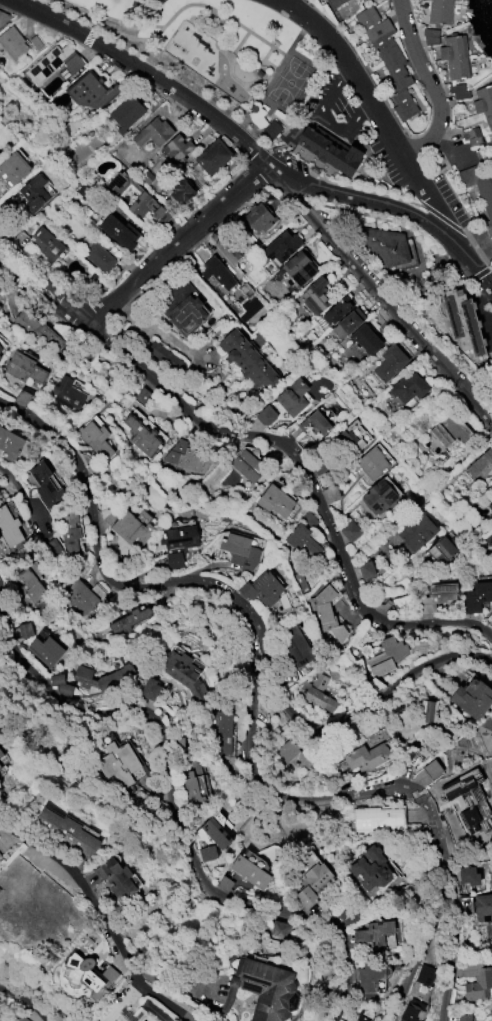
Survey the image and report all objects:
building: (334, 3)
building: (135, 4)
road: (180, 4)
building: (439, 12)
building: (3, 17)
road: (213, 21)
road: (129, 22)
building: (12, 43)
park: (215, 52)
road: (282, 55)
road: (261, 58)
building: (388, 60)
building: (52, 63)
building: (456, 63)
road: (228, 67)
road: (145, 73)
park: (288, 81)
road: (431, 83)
road: (301, 88)
building: (90, 91)
building: (483, 104)
road: (376, 107)
building: (125, 113)
road: (277, 119)
road: (322, 122)
building: (268, 128)
road: (297, 128)
building: (153, 133)
building: (471, 136)
building: (176, 149)
building: (330, 149)
road: (268, 155)
building: (213, 157)
building: (12, 168)
building: (181, 190)
building: (480, 190)
building: (33, 193)
building: (135, 198)
road: (391, 208)
building: (257, 219)
building: (119, 232)
road: (174, 243)
building: (45, 244)
building: (281, 246)
building: (227, 249)
building: (388, 249)
building: (96, 254)
building: (298, 268)
building: (217, 273)
road: (41, 282)
road: (41, 294)
road: (379, 294)
building: (314, 297)
building: (184, 308)
building: (333, 314)
building: (462, 321)
building: (348, 323)
building: (38, 333)
building: (365, 339)
road: (176, 345)
building: (2, 346)
building: (162, 356)
building: (245, 359)
building: (389, 363)
building: (23, 368)
building: (491, 381)
building: (491, 387)
building: (408, 388)
building: (66, 394)
building: (292, 398)
building: (265, 415)
building: (314, 423)
building: (450, 431)
building: (141, 436)
building: (351, 436)
building: (95, 439)
building: (10, 445)
building: (184, 456)
building: (371, 463)
building: (247, 466)
building: (481, 469)
road: (309, 473)
building: (45, 488)
building: (328, 494)
road: (22, 495)
building: (380, 495)
building: (274, 501)
building: (488, 502)
building: (9, 527)
building: (130, 530)
building: (349, 531)
building: (70, 533)
building: (415, 534)
building: (302, 543)
building: (177, 544)
building: (440, 550)
building: (239, 553)
building: (365, 569)
building: (29, 585)
building: (260, 589)
building: (477, 596)
building: (79, 597)
building: (437, 597)
building: (326, 613)
building: (129, 620)
road: (258, 626)
building: (20, 631)
building: (293, 646)
building: (45, 651)
building: (385, 660)
building: (183, 673)
building: (101, 677)
building: (58, 684)
building: (149, 689)
building: (317, 693)
building: (472, 699)
road: (371, 707)
building: (423, 720)
building: (221, 730)
building: (485, 731)
building: (1, 754)
building: (291, 756)
building: (366, 757)
building: (118, 763)
building: (2, 772)
building: (425, 773)
building: (194, 782)
road: (172, 801)
building: (468, 802)
building: (377, 818)
building: (216, 830)
building: (67, 831)
building: (206, 853)
building: (0, 856)
road: (58, 859)
building: (371, 868)
building: (249, 872)
building: (467, 875)
building: (115, 878)
building: (313, 884)
building: (483, 907)
building: (376, 935)
road: (452, 935)
road: (422, 937)
road: (137, 972)
building: (424, 975)
building: (370, 976)
building: (82, 979)
building: (476, 981)
building: (263, 990)
road: (26, 1002)
building: (491, 1005)
building: (154, 1011)
building: (411, 1011)
building: (360, 1017)
building: (465, 1017)
building: (18, 1018)

